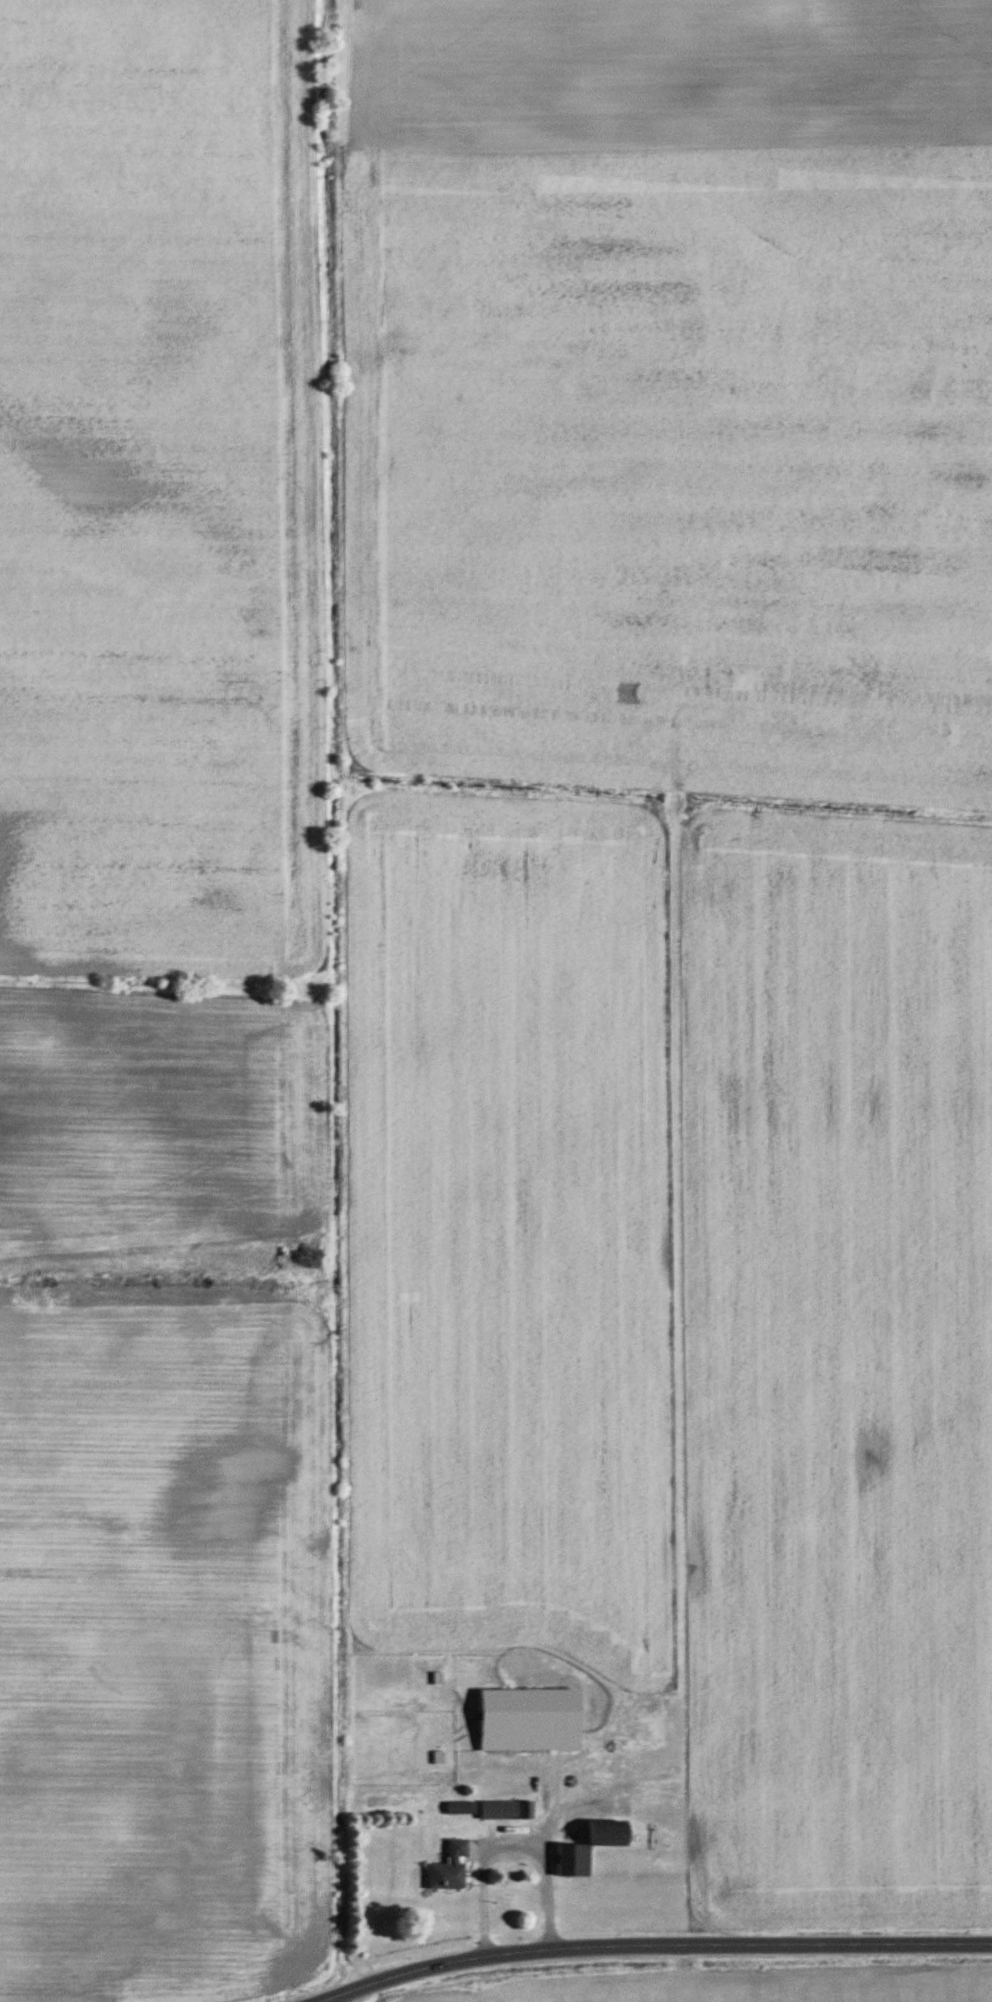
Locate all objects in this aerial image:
building: (529, 1719)
building: (458, 1809)
building: (499, 1810)
building: (526, 1810)
road: (505, 1839)
building: (588, 1847)
building: (449, 1868)
road: (667, 1946)
road: (335, 1997)
road: (349, 1997)

